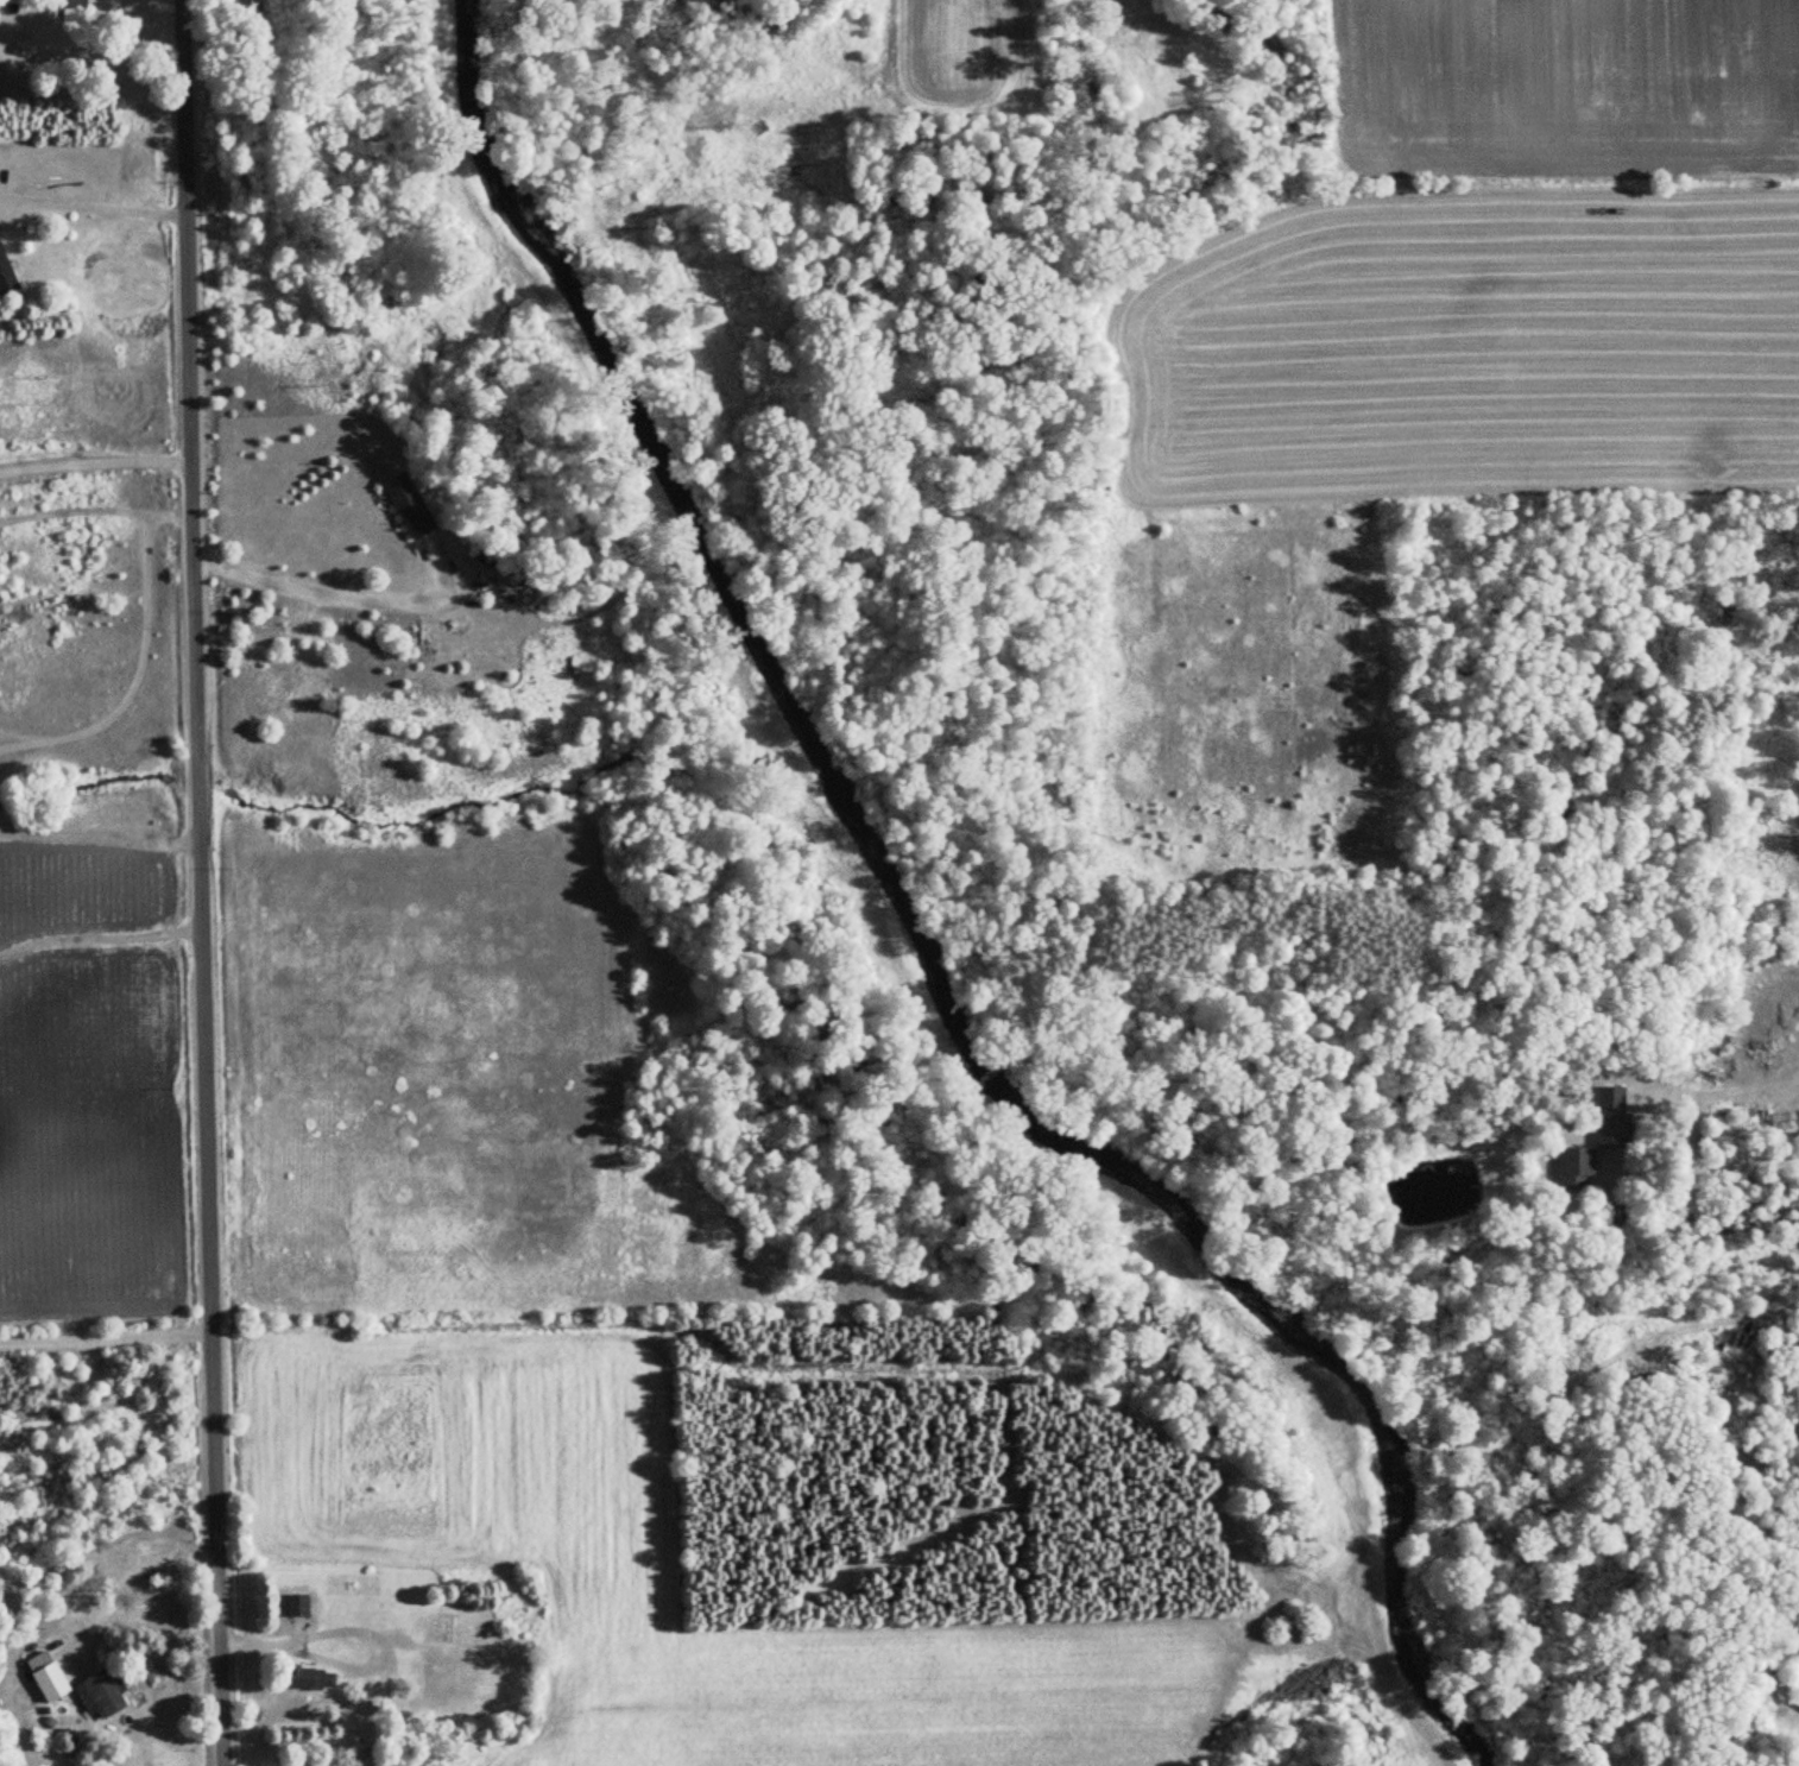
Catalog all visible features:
building: (76, 10)
power tower: (760, 121)
road: (90, 203)
building: (7, 275)
power tower: (371, 384)
road: (93, 453)
building: (411, 506)
road: (322, 589)
power tower: (23, 613)
road: (96, 833)
road: (196, 883)
road: (97, 932)
building: (1614, 1129)
building: (1576, 1167)
road: (1751, 1168)
road: (106, 1332)
road: (132, 1573)
building: (298, 1604)
building: (1798, 1617)
building: (434, 1627)
building: (49, 1676)
building: (311, 1678)
building: (431, 1692)
building: (101, 1694)

